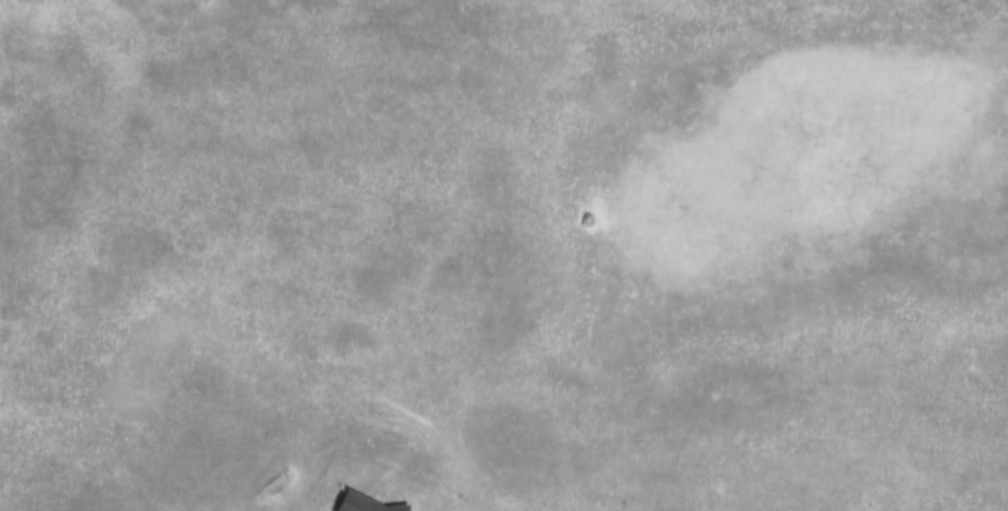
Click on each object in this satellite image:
building: (349, 501)

